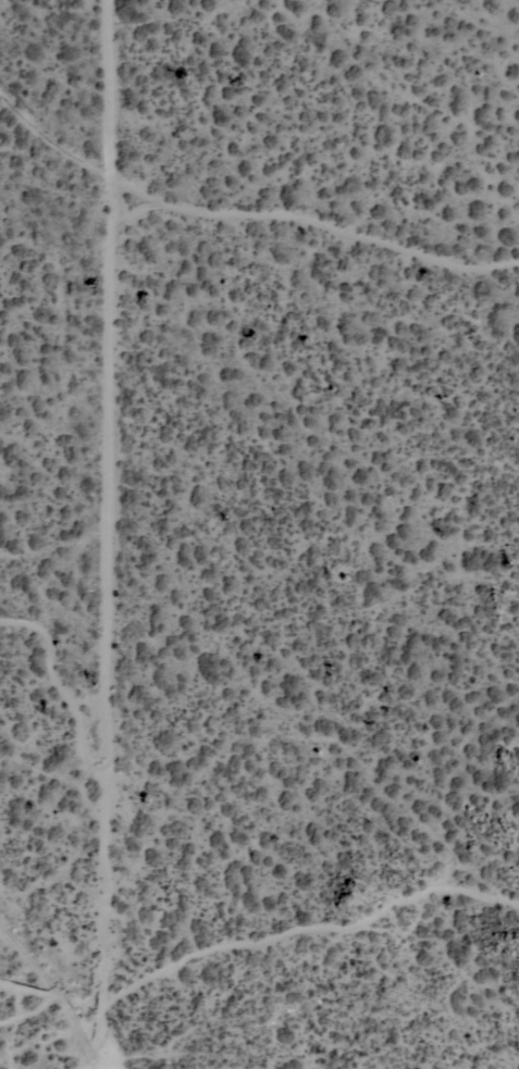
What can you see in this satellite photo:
road: (113, 92)
road: (59, 136)
road: (115, 420)
road: (65, 683)
road: (312, 932)
road: (53, 998)

